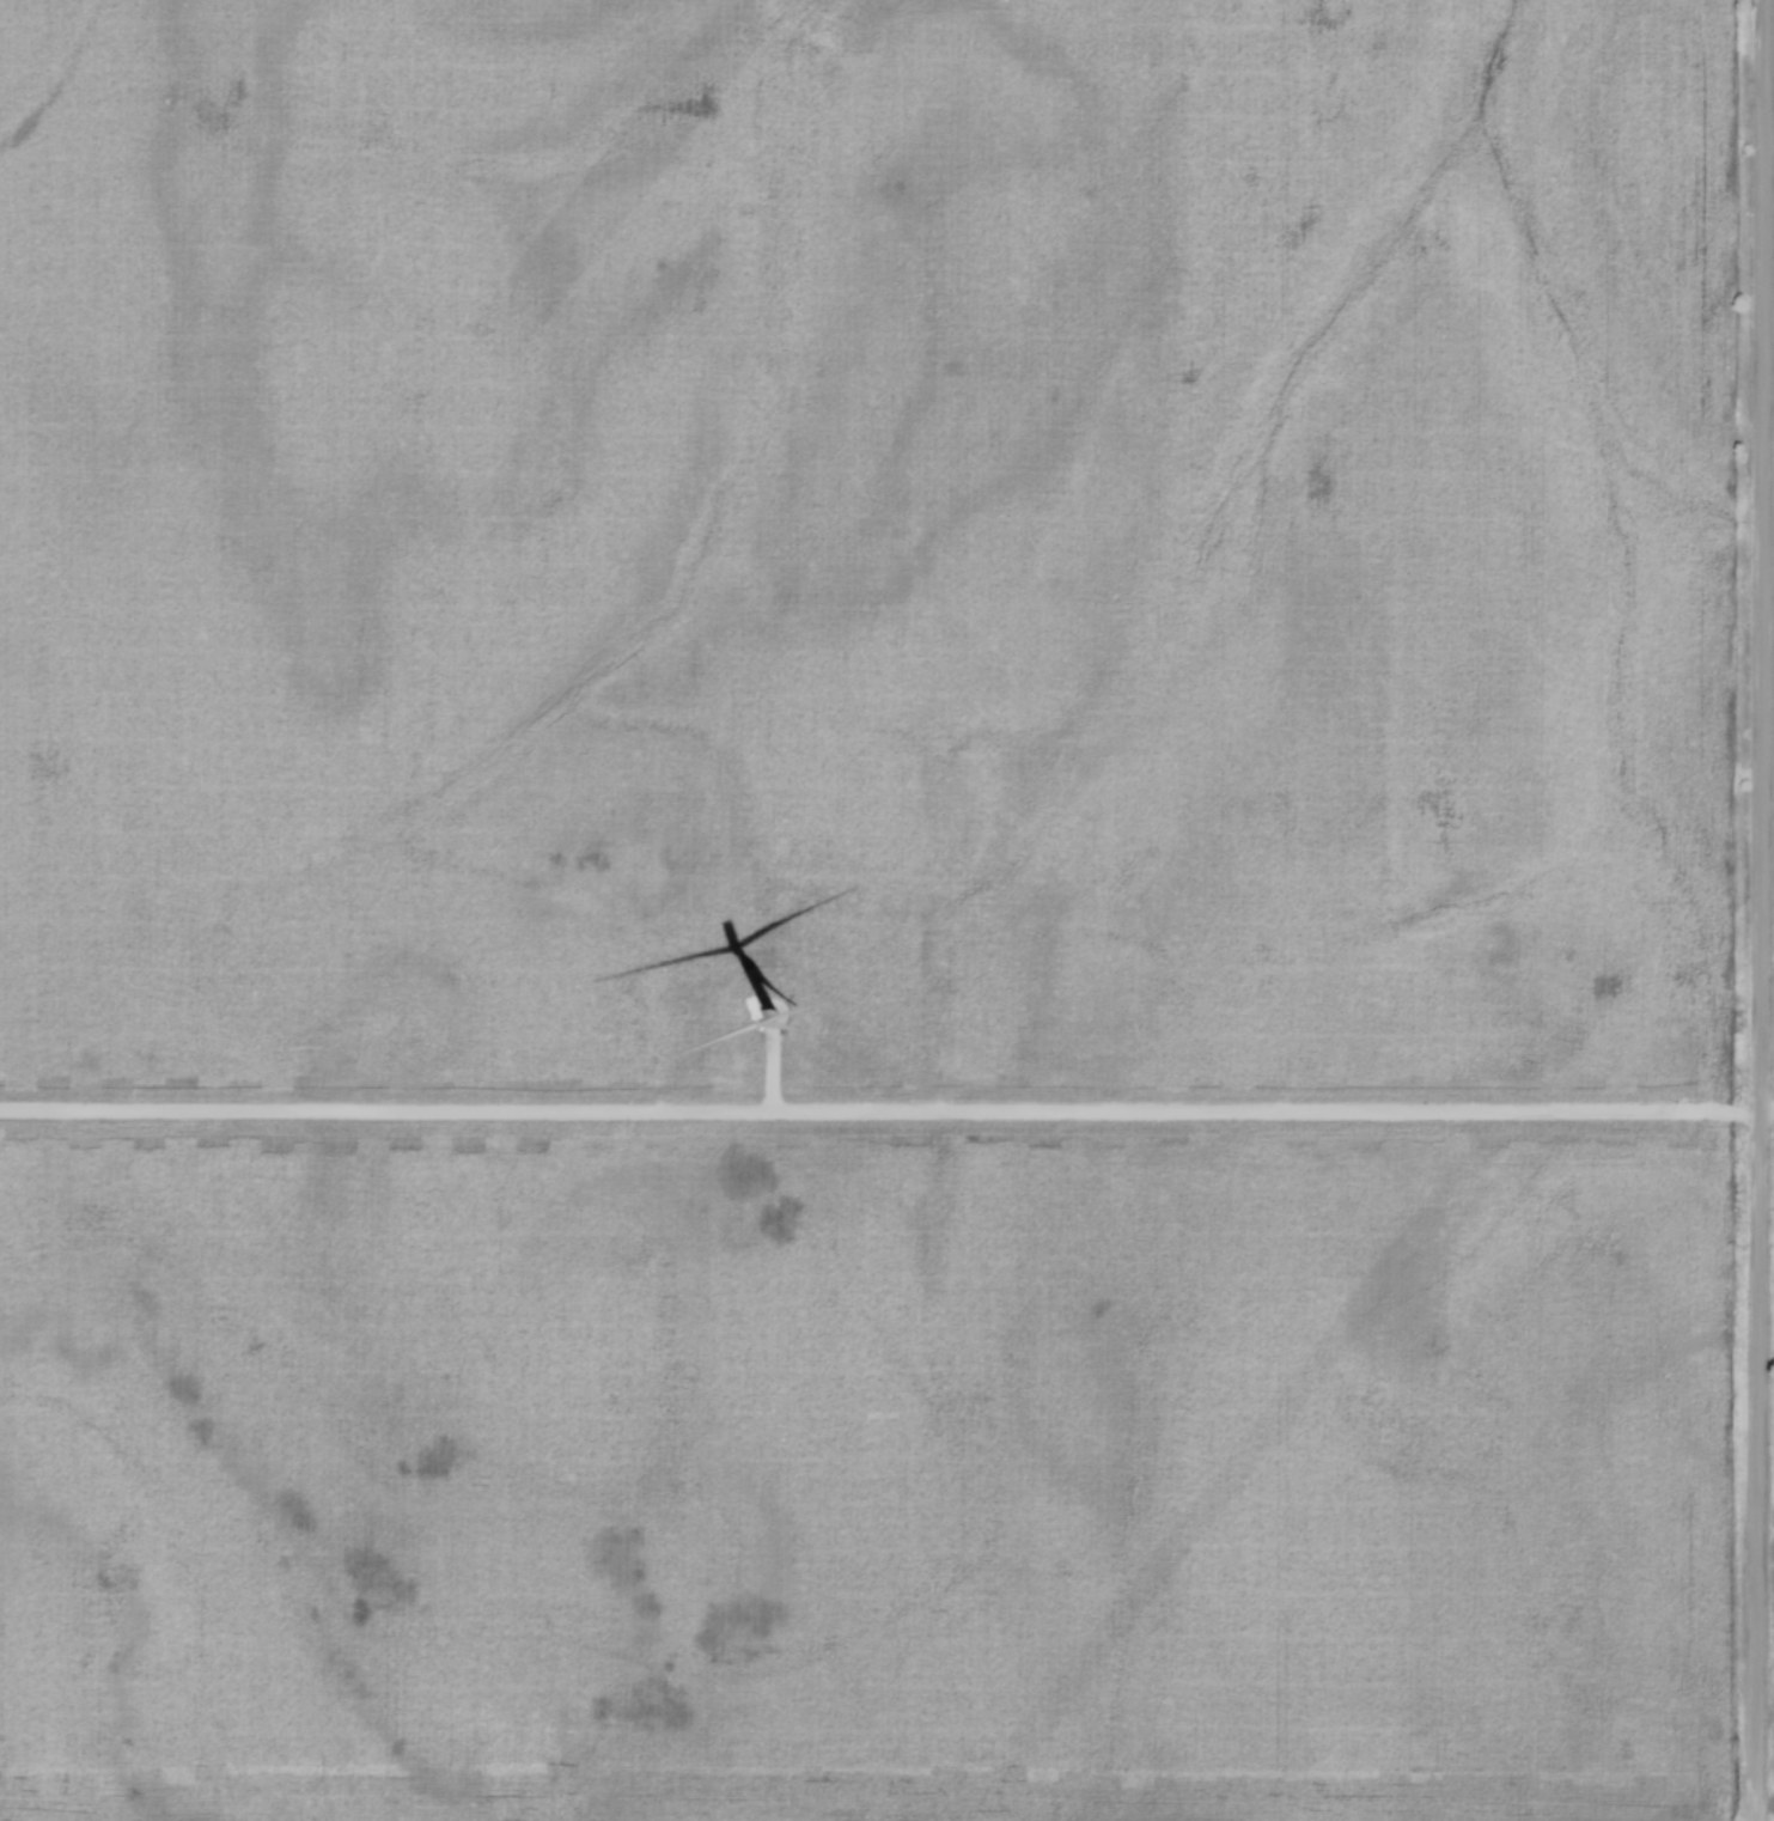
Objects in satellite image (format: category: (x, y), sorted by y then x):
road: (1761, 909)
wind turbine: (769, 1010)

